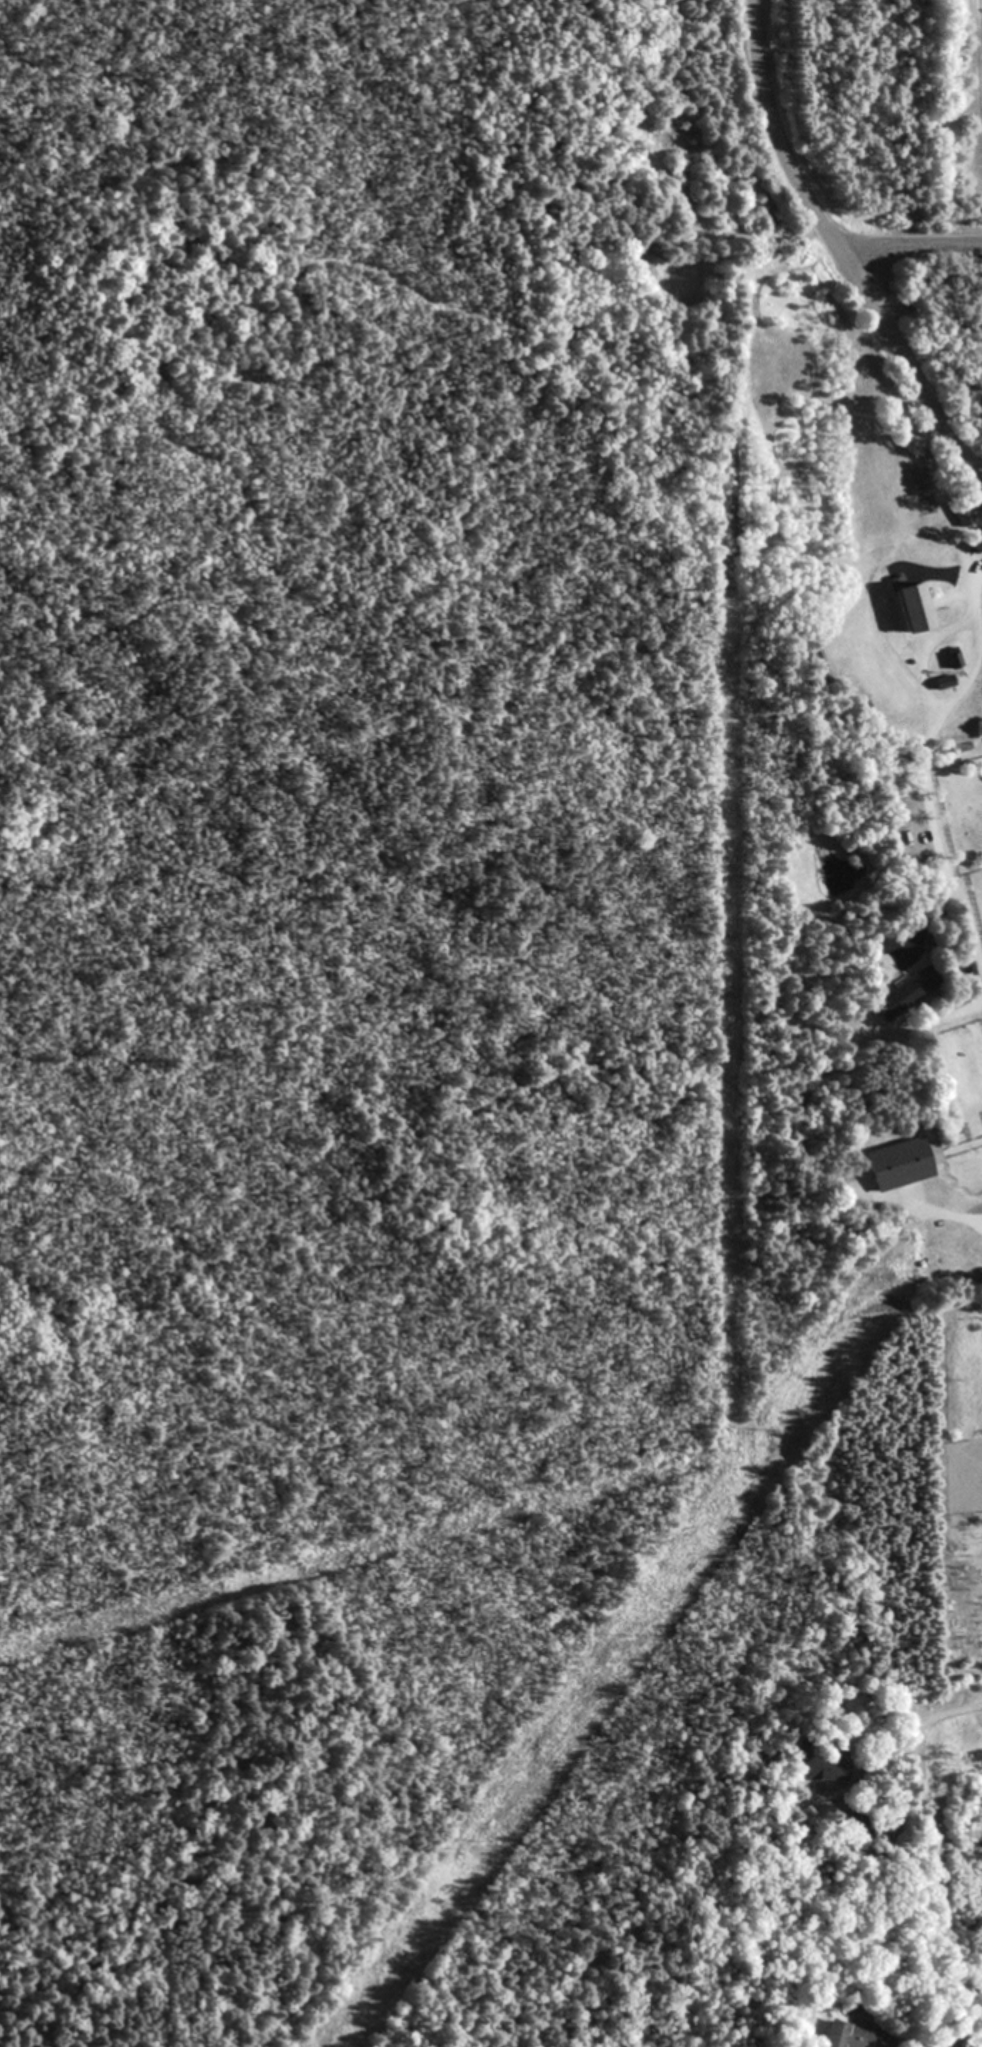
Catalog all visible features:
road: (907, 242)
road: (841, 258)
building: (962, 513)
building: (976, 541)
building: (910, 603)
road: (923, 650)
building: (943, 681)
road: (924, 755)
building: (904, 992)
road: (948, 1013)
building: (897, 1164)
power tower: (919, 1240)
power tower: (777, 1430)
power tower: (628, 1638)
road: (951, 1712)
building: (821, 1765)
power tower: (479, 1845)
building: (853, 2036)

